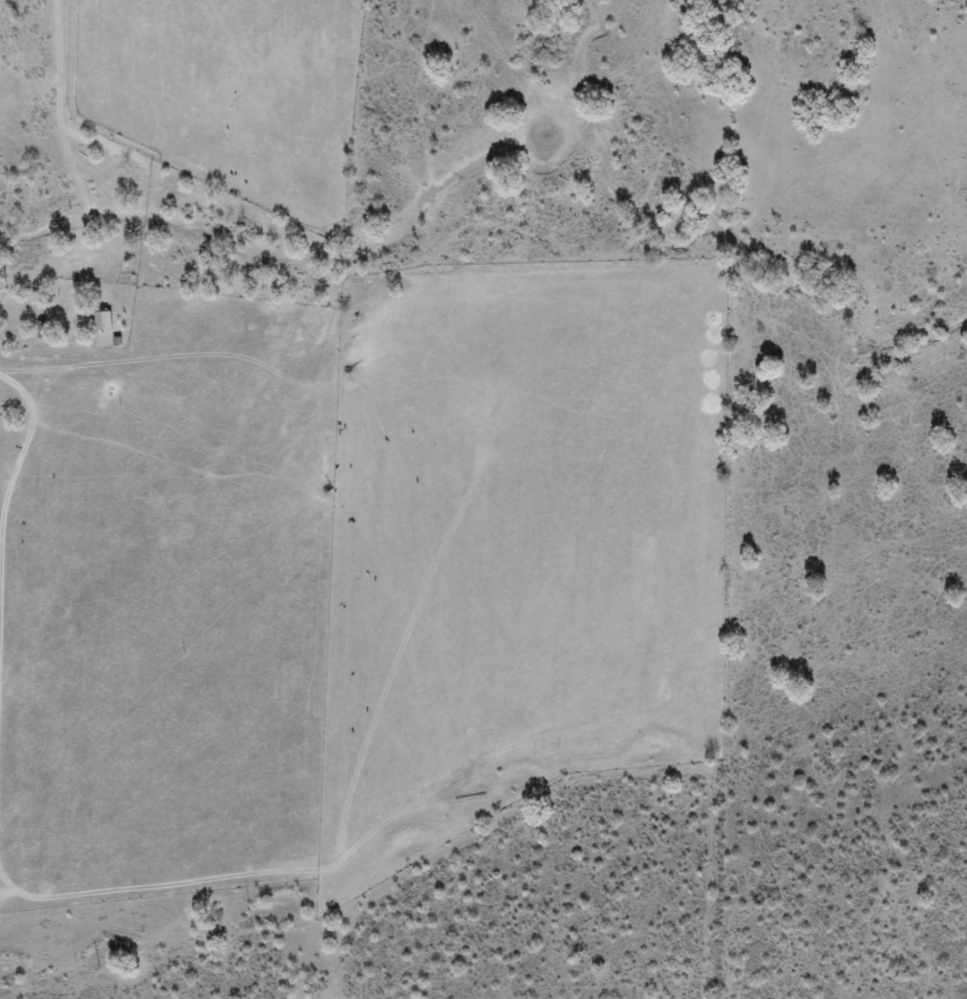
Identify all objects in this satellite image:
building: (103, 320)

